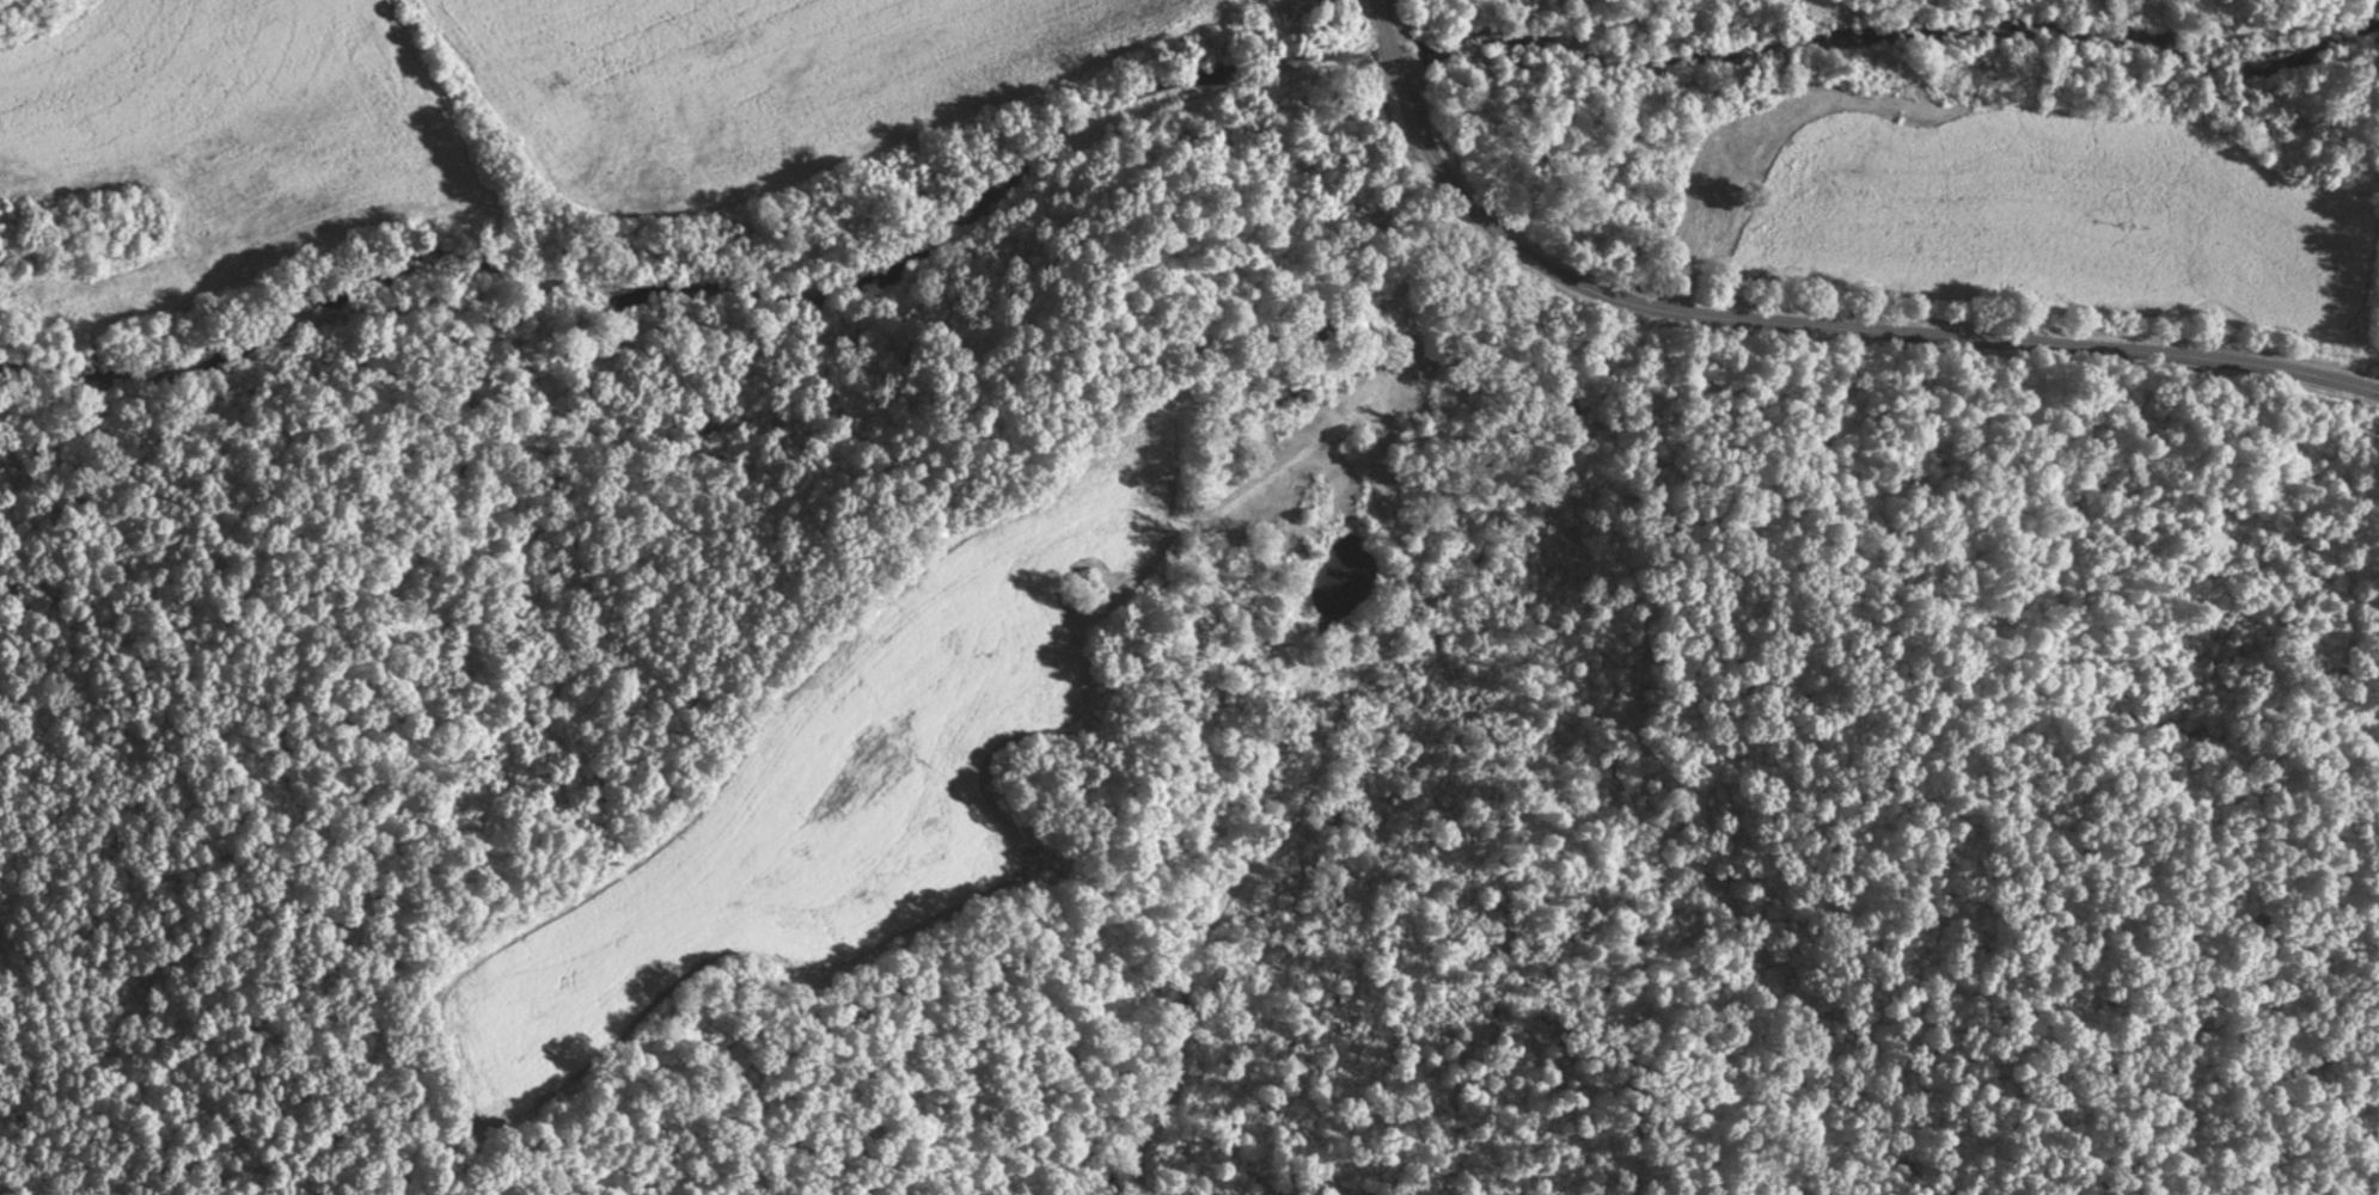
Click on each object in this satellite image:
road: (1794, 325)

